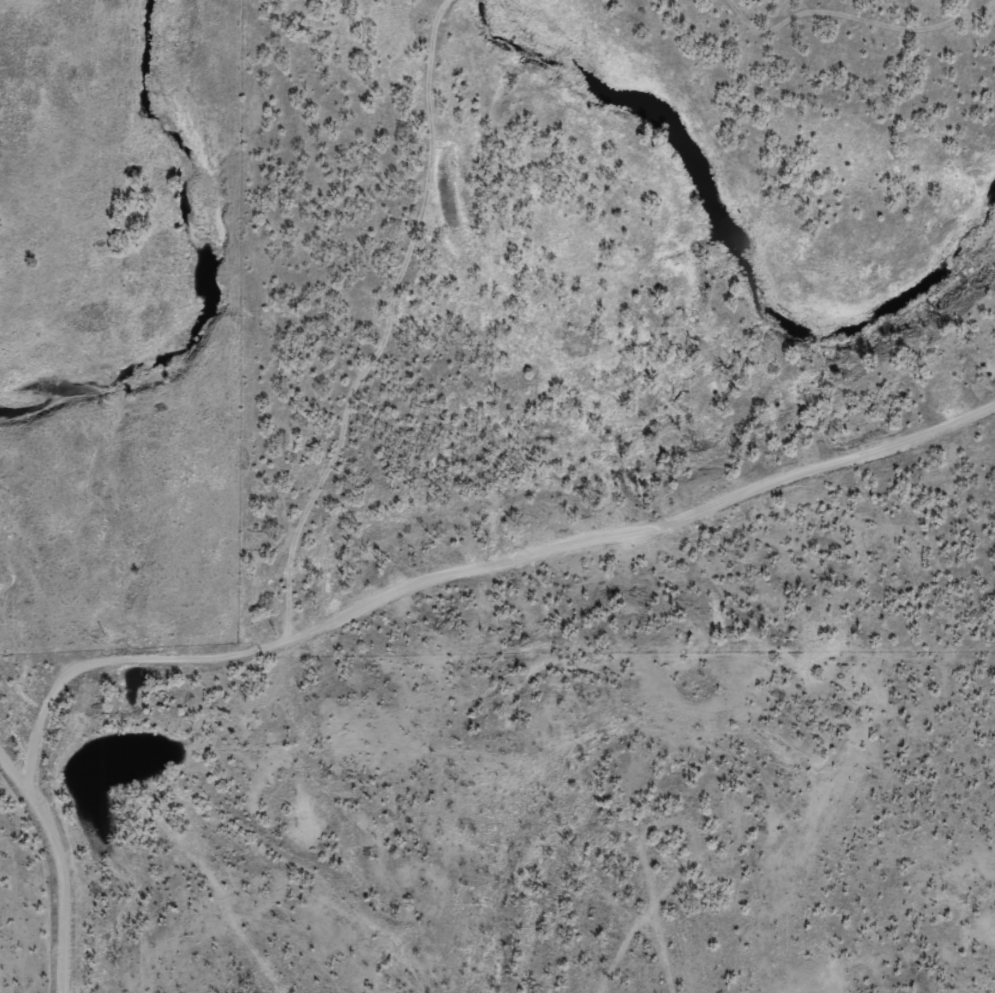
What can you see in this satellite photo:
road: (479, 583)
road: (30, 882)

